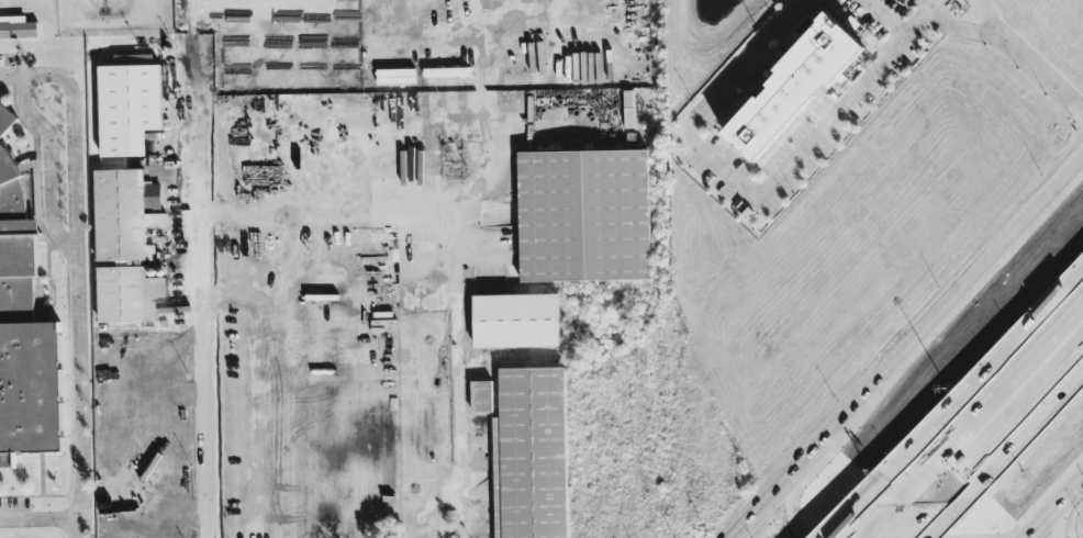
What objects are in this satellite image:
road: (928, 4)
road: (990, 18)
building: (16, 26)
road: (187, 32)
road: (1015, 45)
building: (792, 87)
building: (127, 103)
building: (5, 117)
road: (46, 158)
road: (501, 178)
road: (391, 182)
road: (751, 190)
building: (583, 214)
building: (124, 244)
road: (288, 269)
road: (74, 273)
road: (205, 302)
road: (959, 304)
building: (515, 320)
building: (24, 329)
road: (460, 363)
road: (1002, 373)
building: (481, 395)
road: (1020, 415)
building: (531, 453)
road: (812, 460)
road: (887, 500)
road: (1054, 507)
road: (935, 509)
road: (762, 511)
road: (38, 516)
road: (1057, 517)
building: (112, 520)
building: (135, 529)
road: (892, 534)

